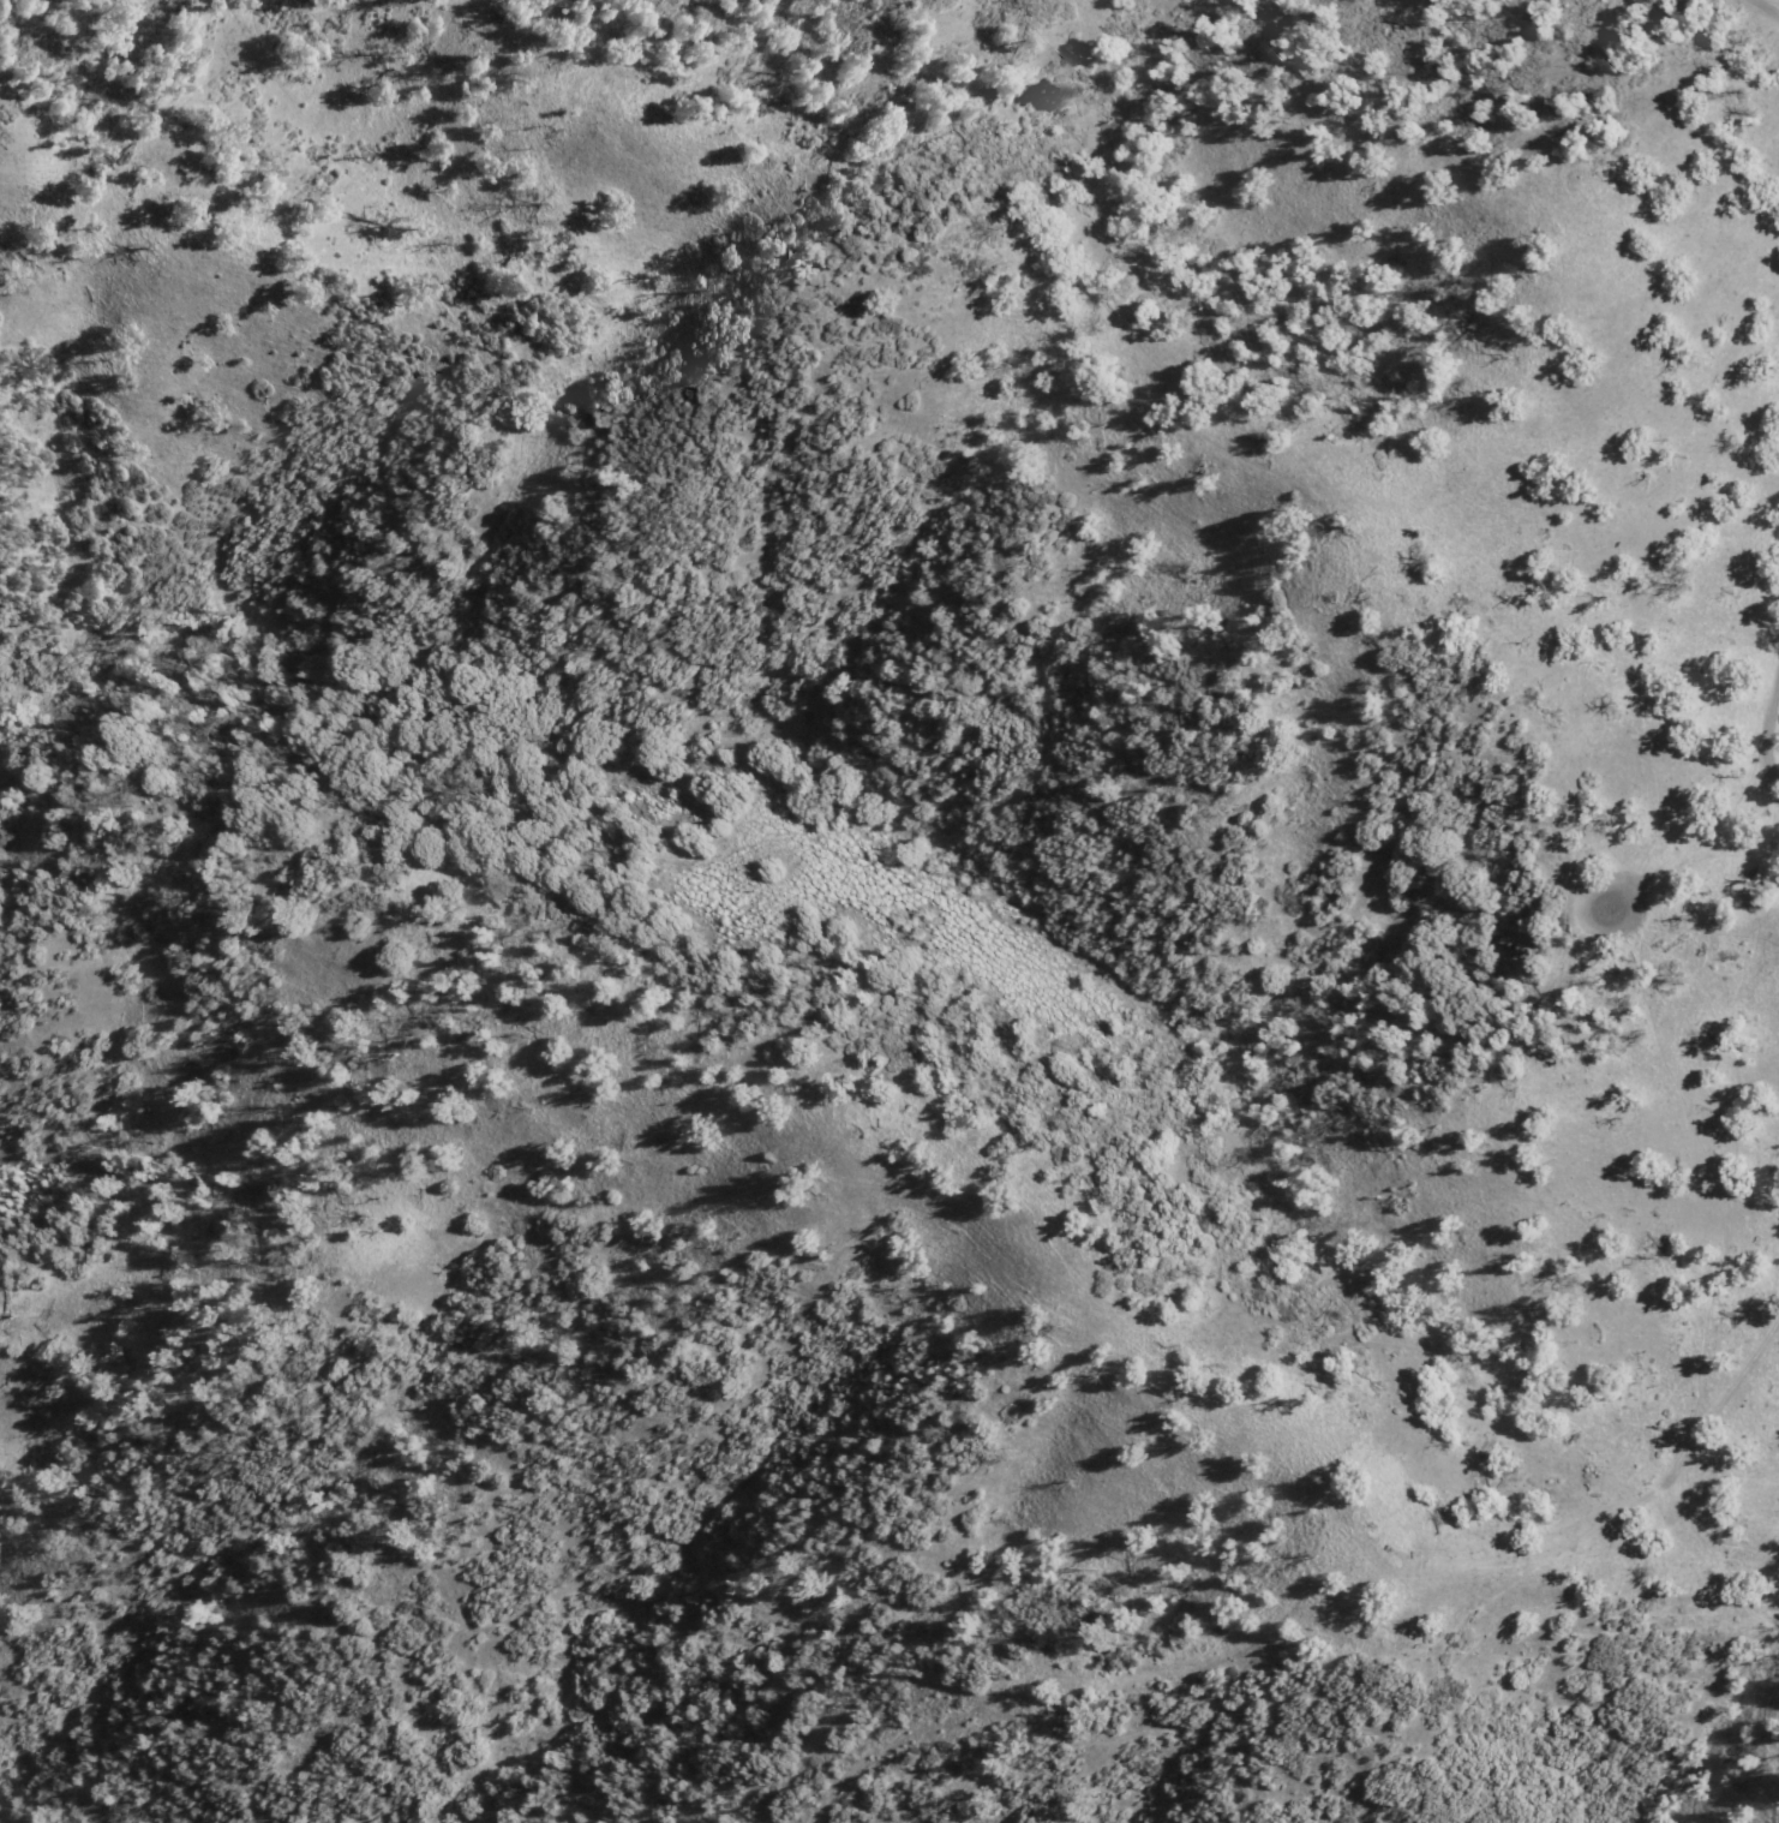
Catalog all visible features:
road: (1756, 12)
road: (1759, 727)

